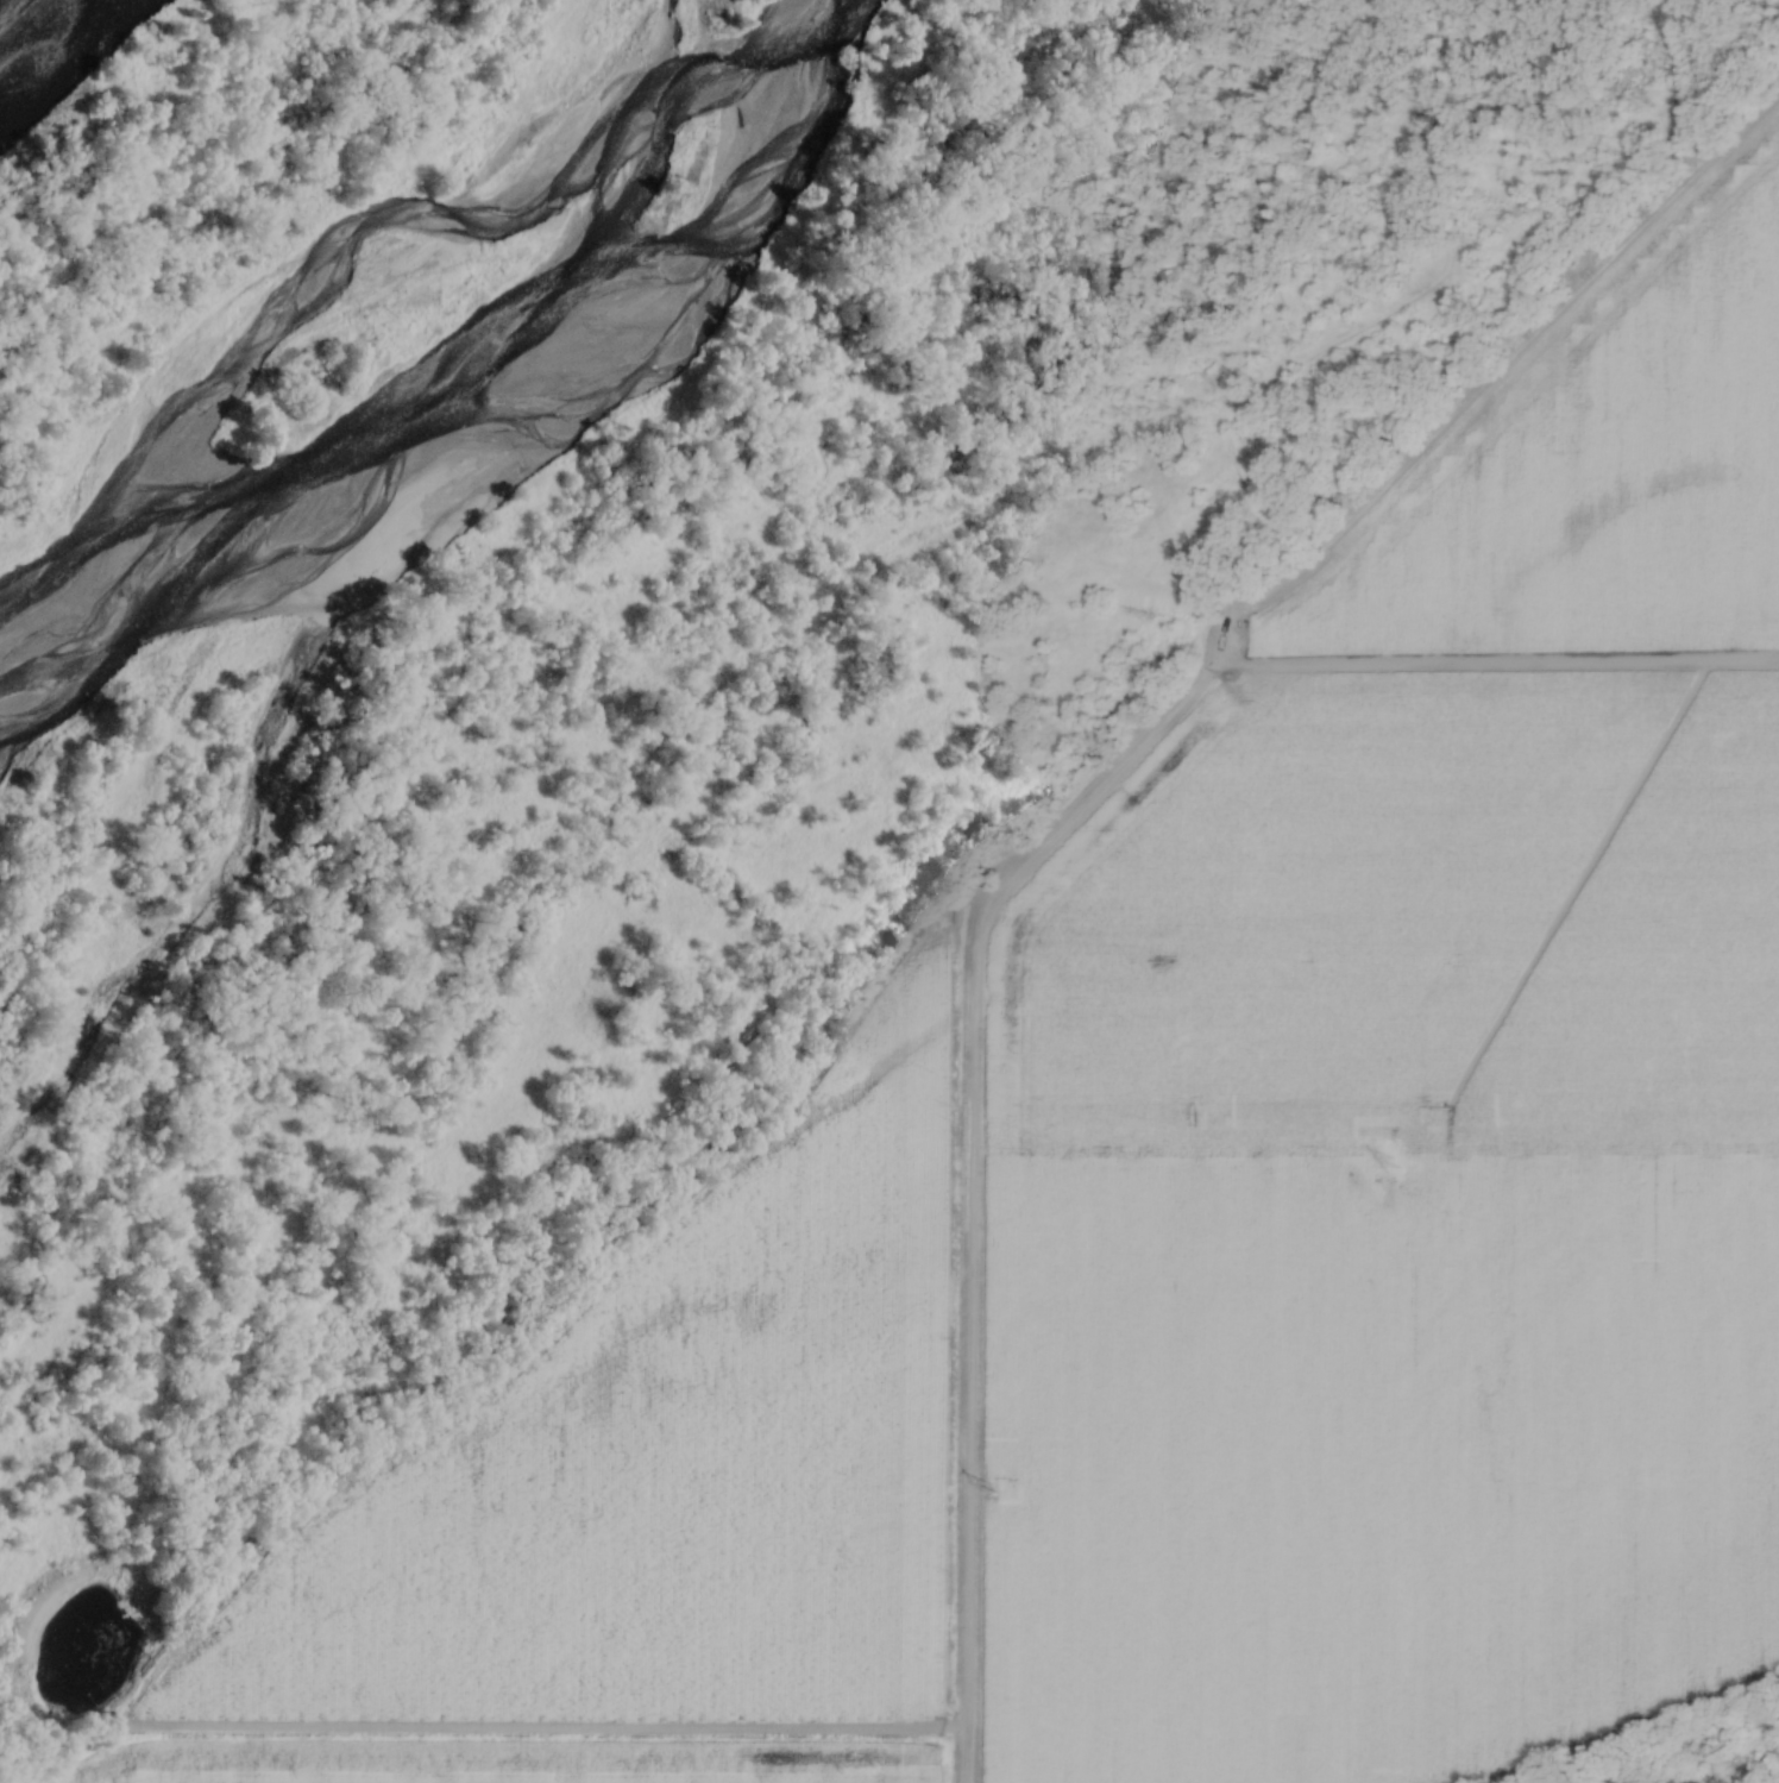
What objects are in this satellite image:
power tower: (1393, 1163)
road: (973, 1172)
power tower: (991, 1488)
road: (421, 1739)

